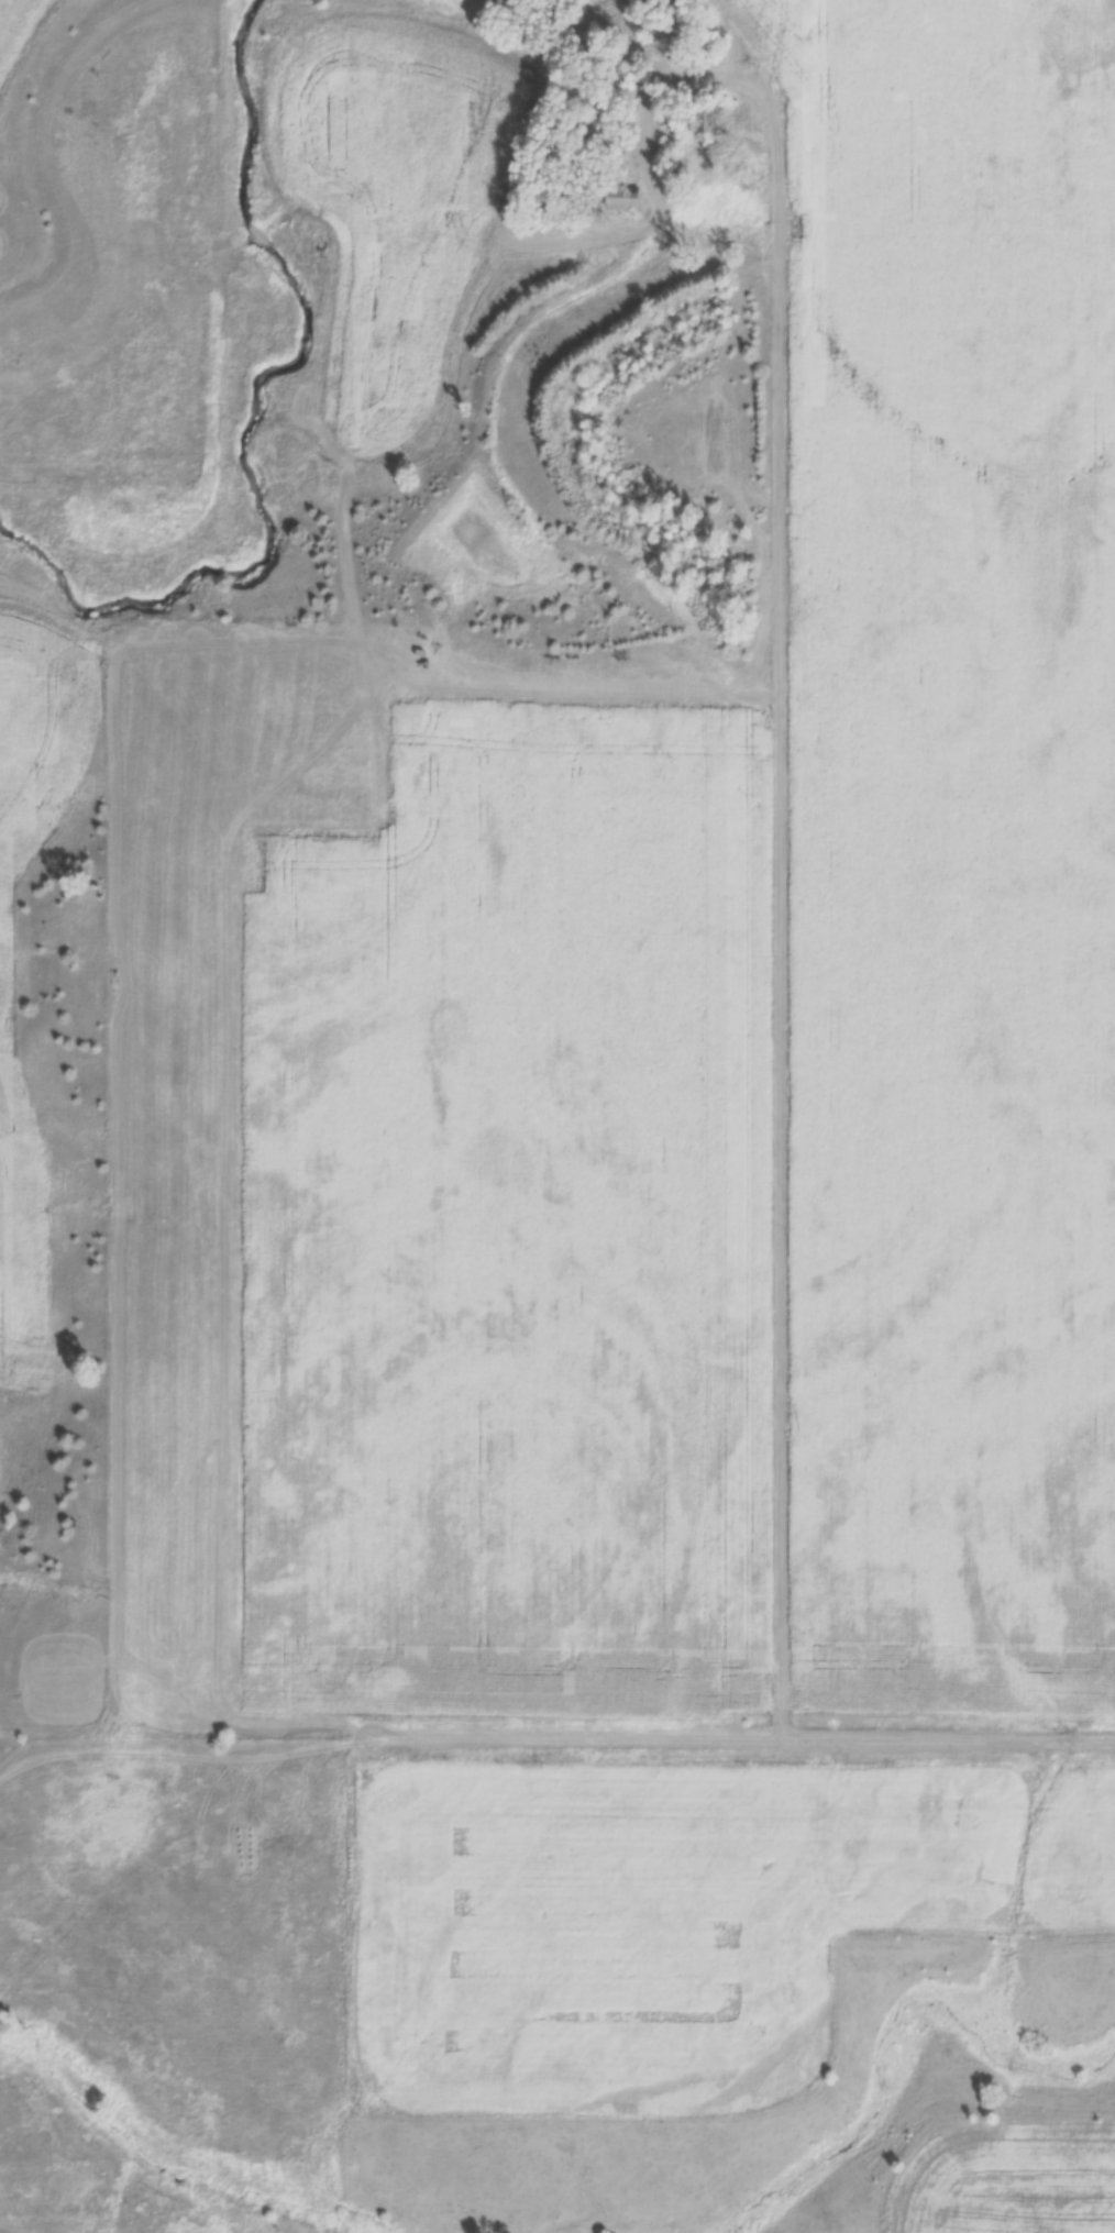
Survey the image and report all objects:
building: (621, 200)
road: (739, 1739)
road: (157, 1872)

